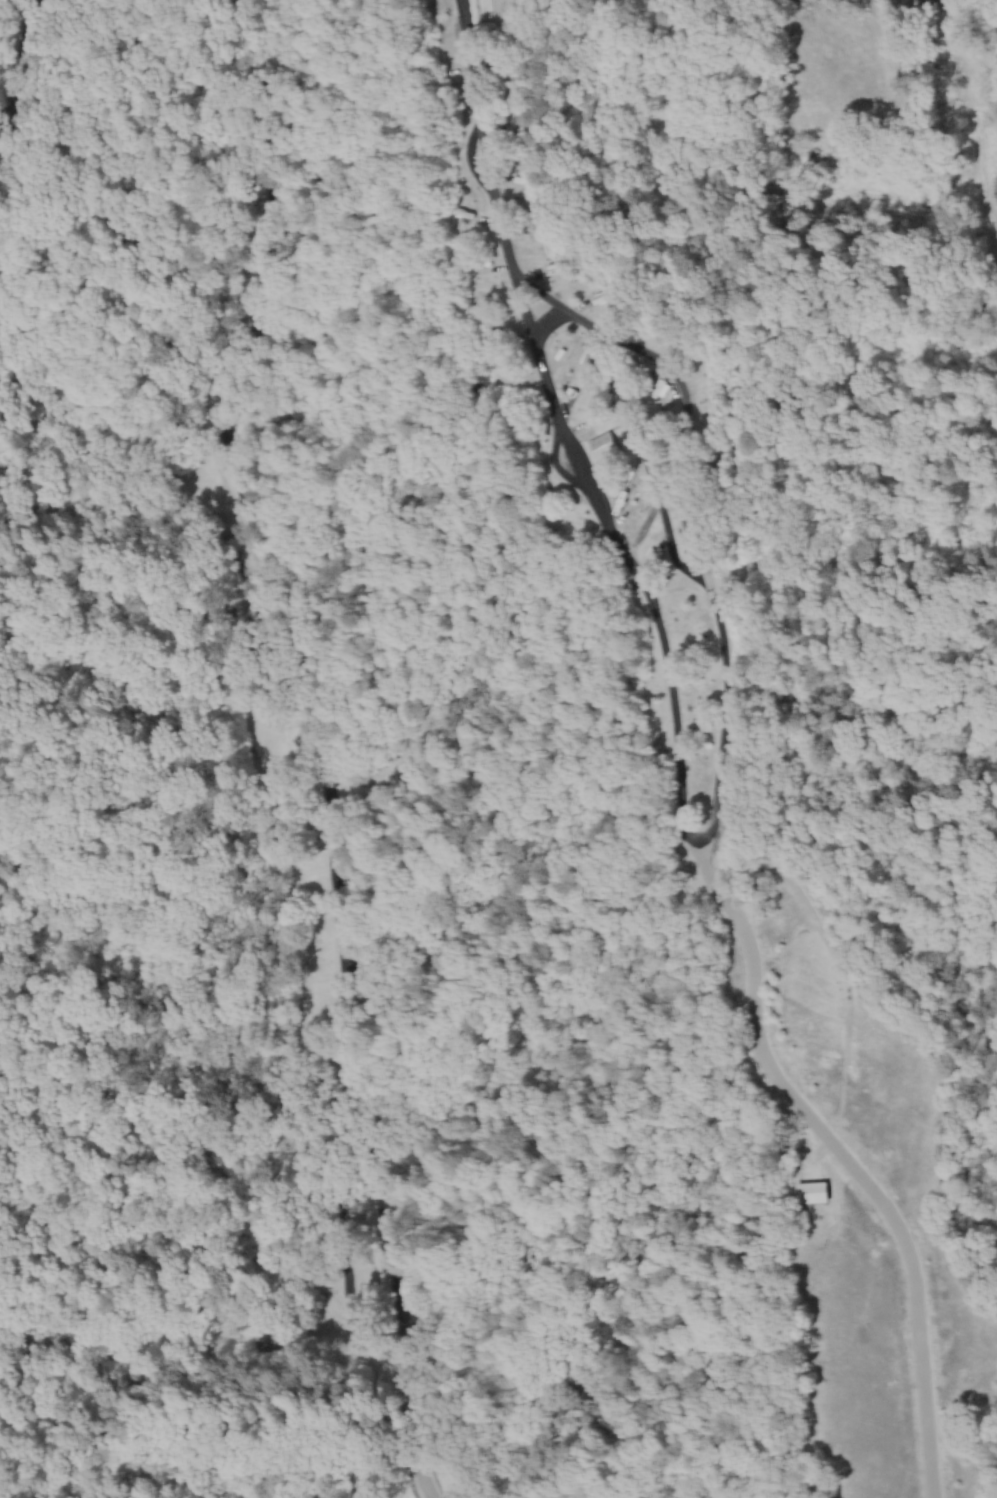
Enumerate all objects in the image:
road: (21, 68)
road: (513, 288)
building: (607, 443)
road: (273, 577)
road: (674, 711)
road: (712, 872)
building: (815, 1191)
road: (401, 1310)
road: (411, 1417)

